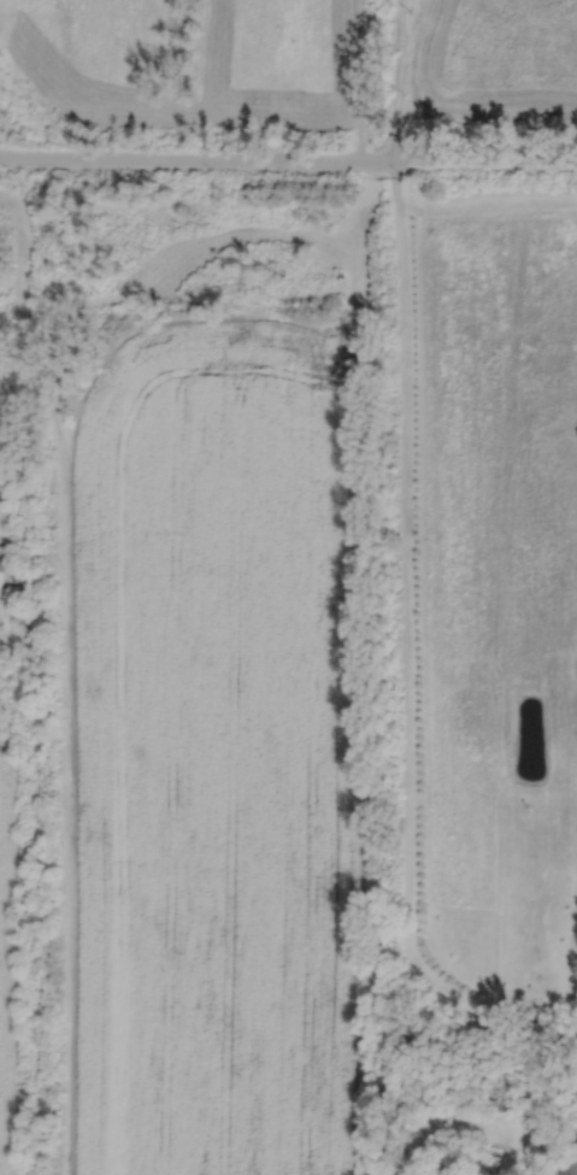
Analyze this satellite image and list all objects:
road: (288, 164)
building: (7, 562)
road: (405, 572)
building: (18, 603)

